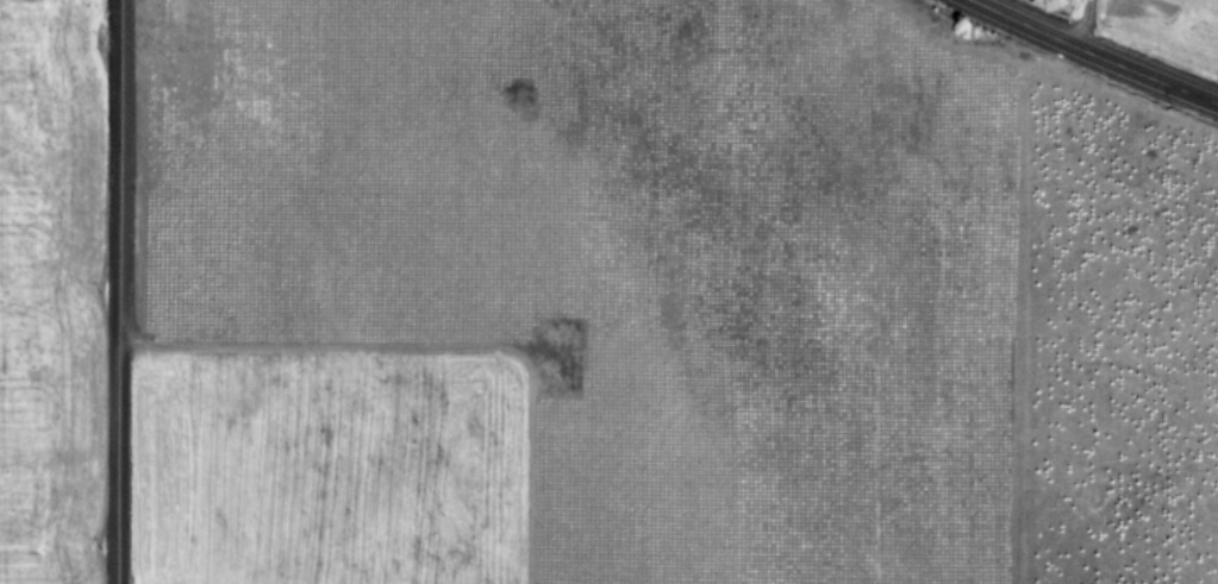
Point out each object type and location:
road: (1080, 23)
road: (1092, 54)
road: (117, 291)
crop: (592, 300)

